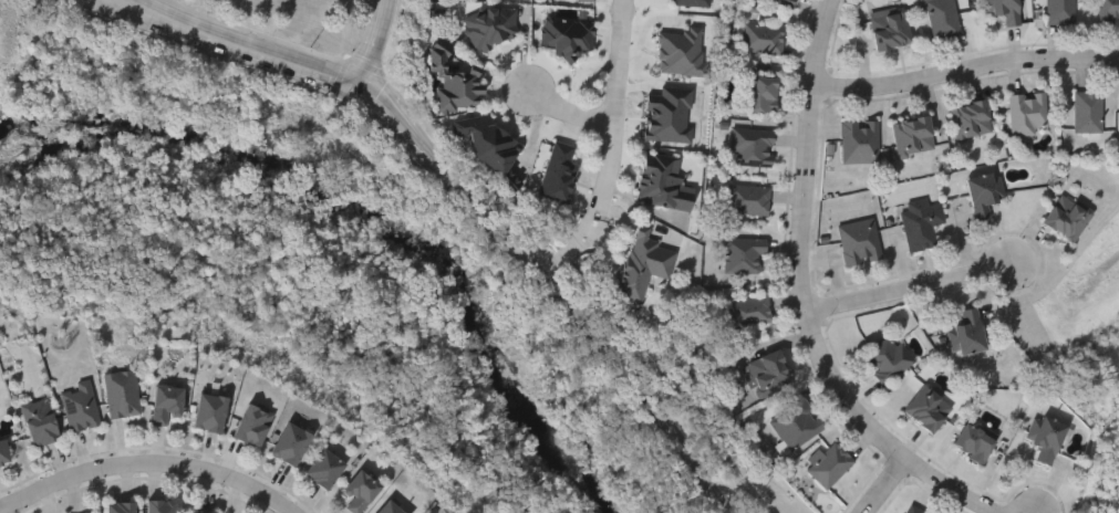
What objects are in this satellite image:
building: (586, 1)
road: (94, 3)
road: (103, 3)
building: (690, 3)
building: (781, 3)
building: (1002, 11)
building: (1059, 12)
building: (1108, 12)
building: (942, 20)
building: (491, 28)
building: (889, 30)
building: (567, 38)
road: (375, 39)
road: (258, 40)
building: (763, 40)
road: (227, 50)
road: (964, 71)
road: (358, 87)
building: (458, 93)
building: (763, 95)
road: (393, 105)
road: (571, 113)
building: (1087, 113)
building: (1026, 115)
building: (970, 122)
road: (397, 134)
building: (912, 137)
building: (859, 143)
building: (752, 148)
road: (612, 149)
road: (431, 154)
building: (558, 172)
building: (662, 185)
building: (983, 196)
building: (747, 201)
building: (1067, 218)
building: (920, 226)
building: (858, 243)
building: (744, 258)
building: (643, 266)
road: (906, 291)
road: (801, 297)
building: (748, 313)
road: (597, 335)
building: (966, 336)
building: (887, 363)
building: (766, 376)
building: (121, 394)
building: (165, 402)
building: (80, 406)
building: (928, 410)
building: (209, 411)
building: (40, 421)
building: (252, 423)
building: (796, 427)
building: (1045, 438)
building: (290, 443)
building: (976, 444)
building: (3, 451)
building: (828, 465)
road: (145, 467)
building: (324, 468)
road: (885, 484)
building: (160, 505)
building: (120, 506)
building: (390, 507)
building: (912, 510)

